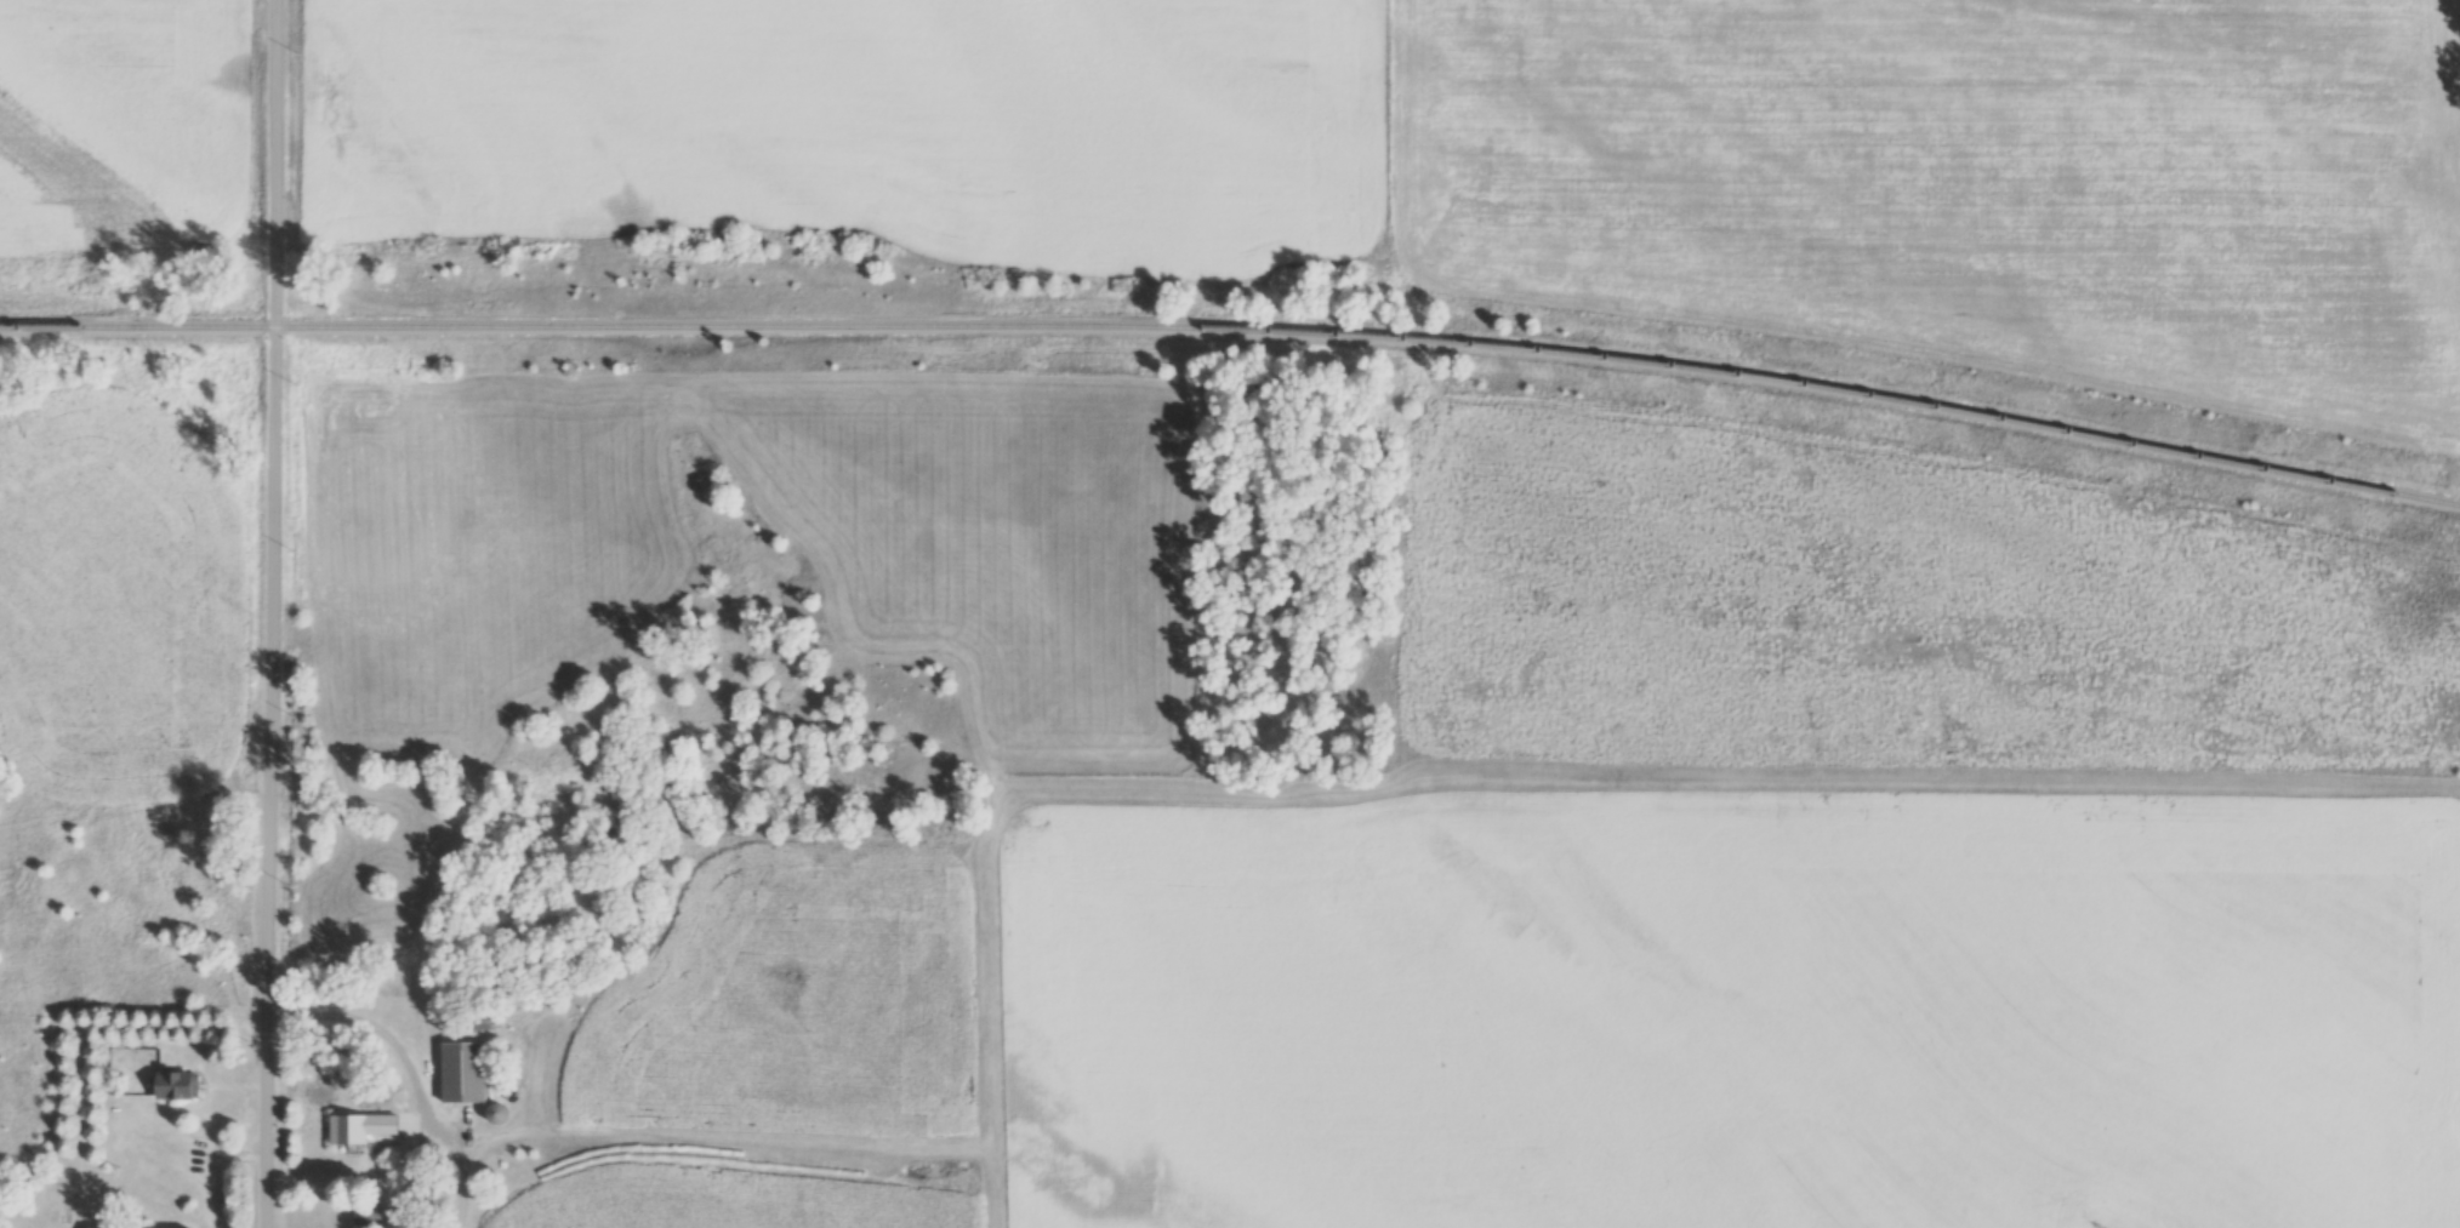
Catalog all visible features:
railway: (1236, 329)
road: (272, 613)
building: (462, 1072)
building: (173, 1085)
building: (359, 1127)
building: (368, 1215)

